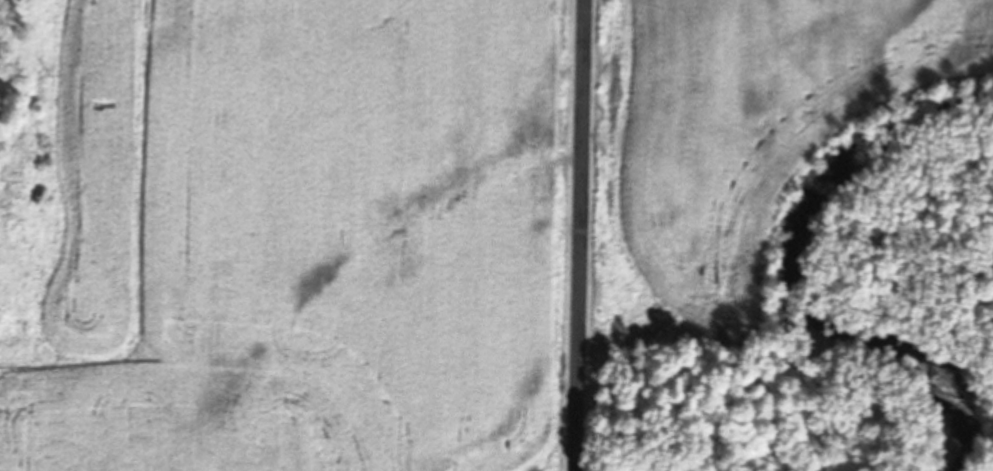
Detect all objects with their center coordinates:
road: (579, 235)

